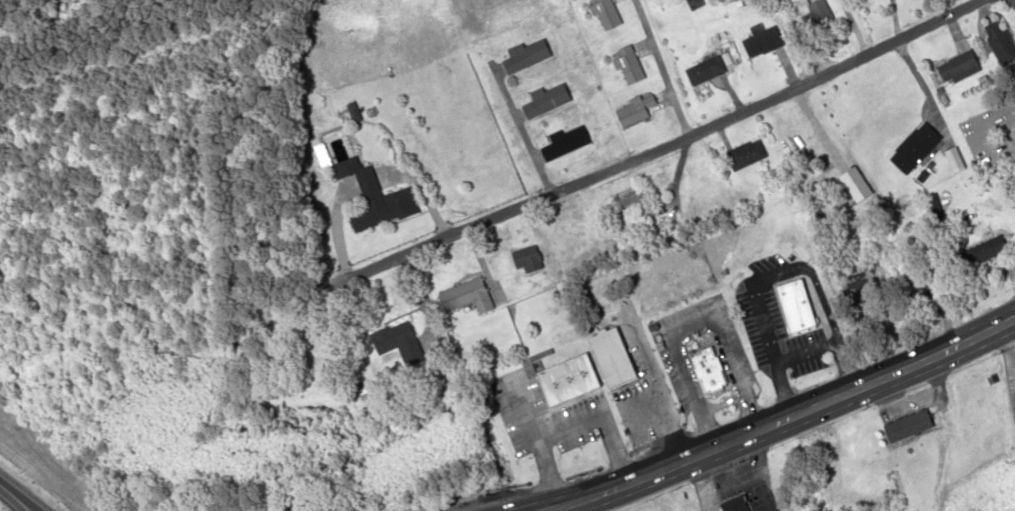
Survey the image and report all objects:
building: (696, 4)
building: (817, 14)
building: (607, 15)
building: (1002, 42)
building: (526, 56)
building: (630, 66)
road: (660, 66)
building: (961, 67)
building: (707, 71)
building: (547, 101)
building: (636, 112)
road: (520, 128)
building: (790, 137)
building: (567, 143)
road: (659, 144)
building: (919, 149)
building: (747, 155)
building: (368, 186)
building: (629, 200)
building: (987, 253)
building: (858, 286)
building: (920, 288)
road: (821, 296)
building: (469, 297)
building: (779, 319)
building: (400, 344)
building: (614, 359)
building: (709, 372)
building: (570, 382)
road: (853, 390)
building: (911, 427)
road: (593, 484)
road: (634, 486)
road: (15, 497)
building: (738, 504)
road: (28, 507)

